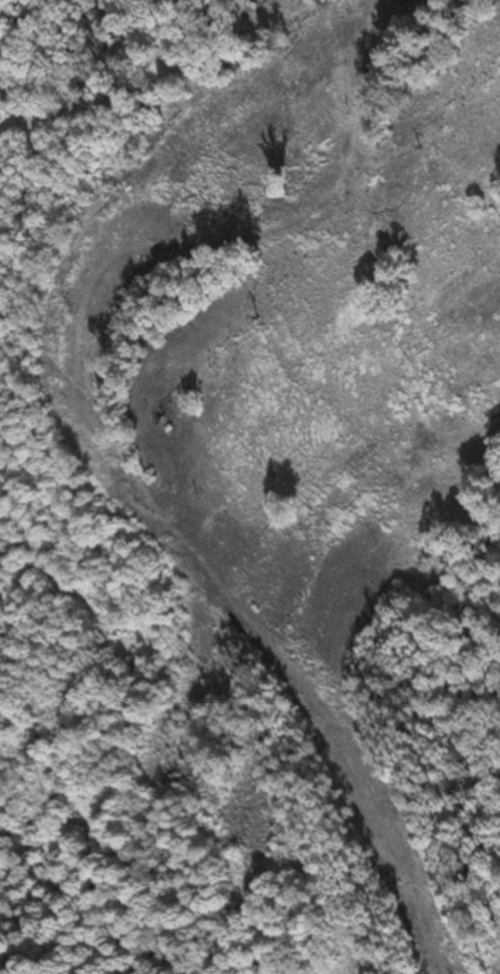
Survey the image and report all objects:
aerialway pylon: (416, 147)
aerialway pylon: (255, 310)
aerialway pylon: (187, 381)
ski resort: (257, 445)
crop: (355, 968)

